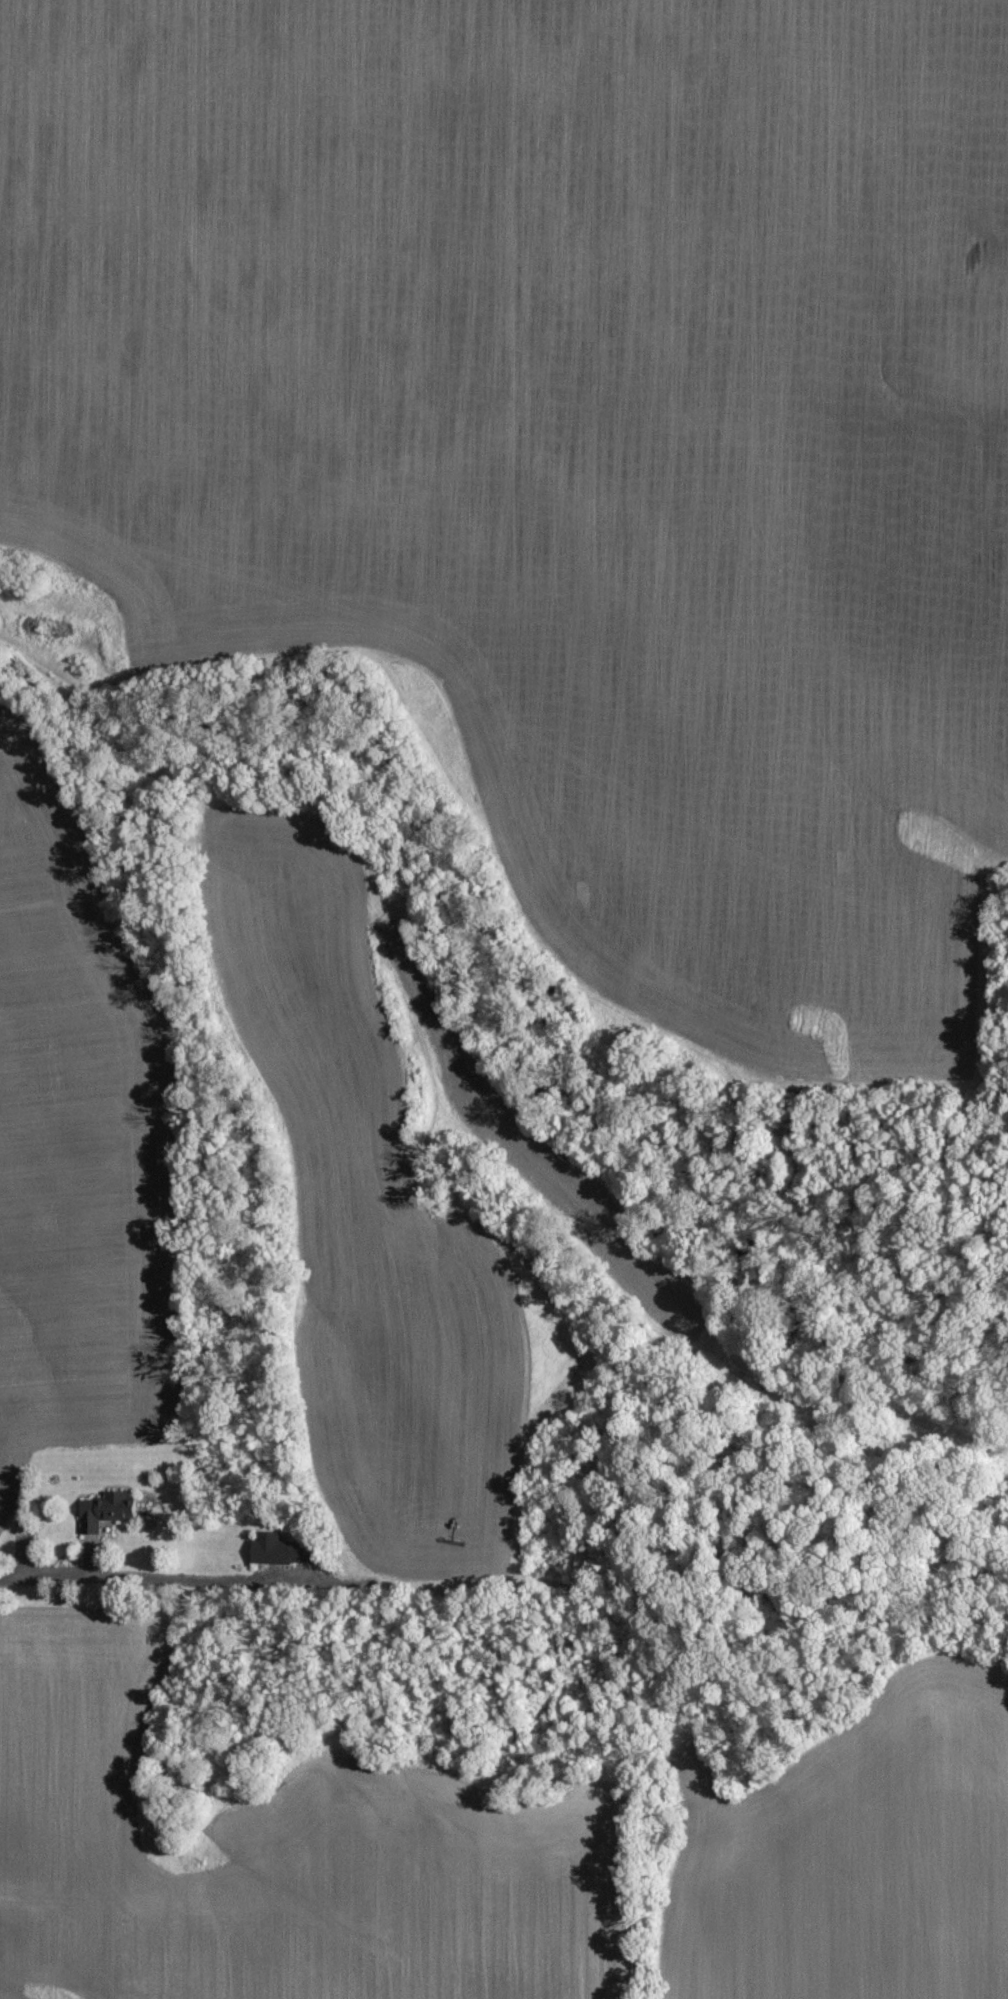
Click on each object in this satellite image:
building: (108, 1511)
building: (279, 1550)
road: (48, 1590)

